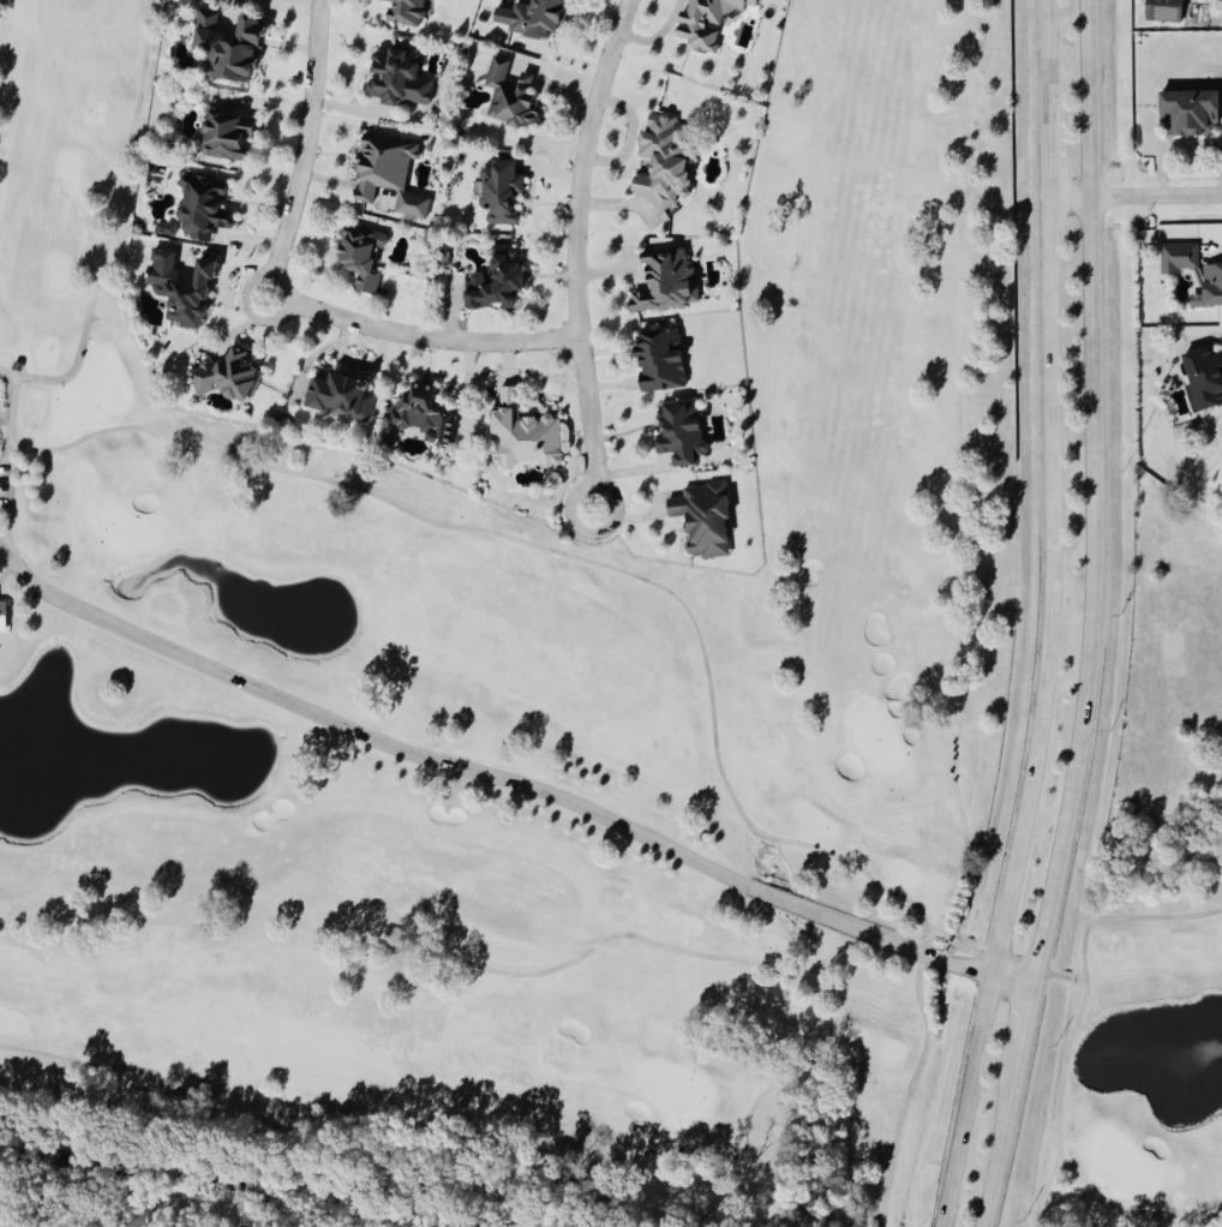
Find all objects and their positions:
building: (1161, 11)
building: (401, 12)
building: (535, 19)
building: (705, 22)
road: (655, 34)
building: (223, 48)
road: (1050, 58)
building: (394, 78)
building: (507, 96)
building: (1186, 114)
building: (223, 136)
road: (307, 150)
road: (1052, 157)
building: (660, 164)
building: (387, 174)
building: (498, 193)
road: (1137, 199)
building: (199, 208)
building: (164, 229)
road: (106, 250)
road: (577, 252)
building: (358, 258)
building: (1176, 261)
building: (493, 282)
building: (663, 283)
building: (1211, 287)
building: (179, 288)
road: (423, 339)
building: (657, 361)
building: (227, 378)
building: (1204, 378)
building: (339, 397)
building: (419, 413)
building: (520, 436)
building: (677, 436)
road: (954, 474)
road: (1100, 495)
building: (700, 520)
building: (1, 616)
park: (516, 688)
road: (1041, 717)
road: (489, 777)
road: (1017, 980)
road: (1032, 1014)
park: (1134, 1067)
road: (1005, 1135)
river: (203, 1187)

